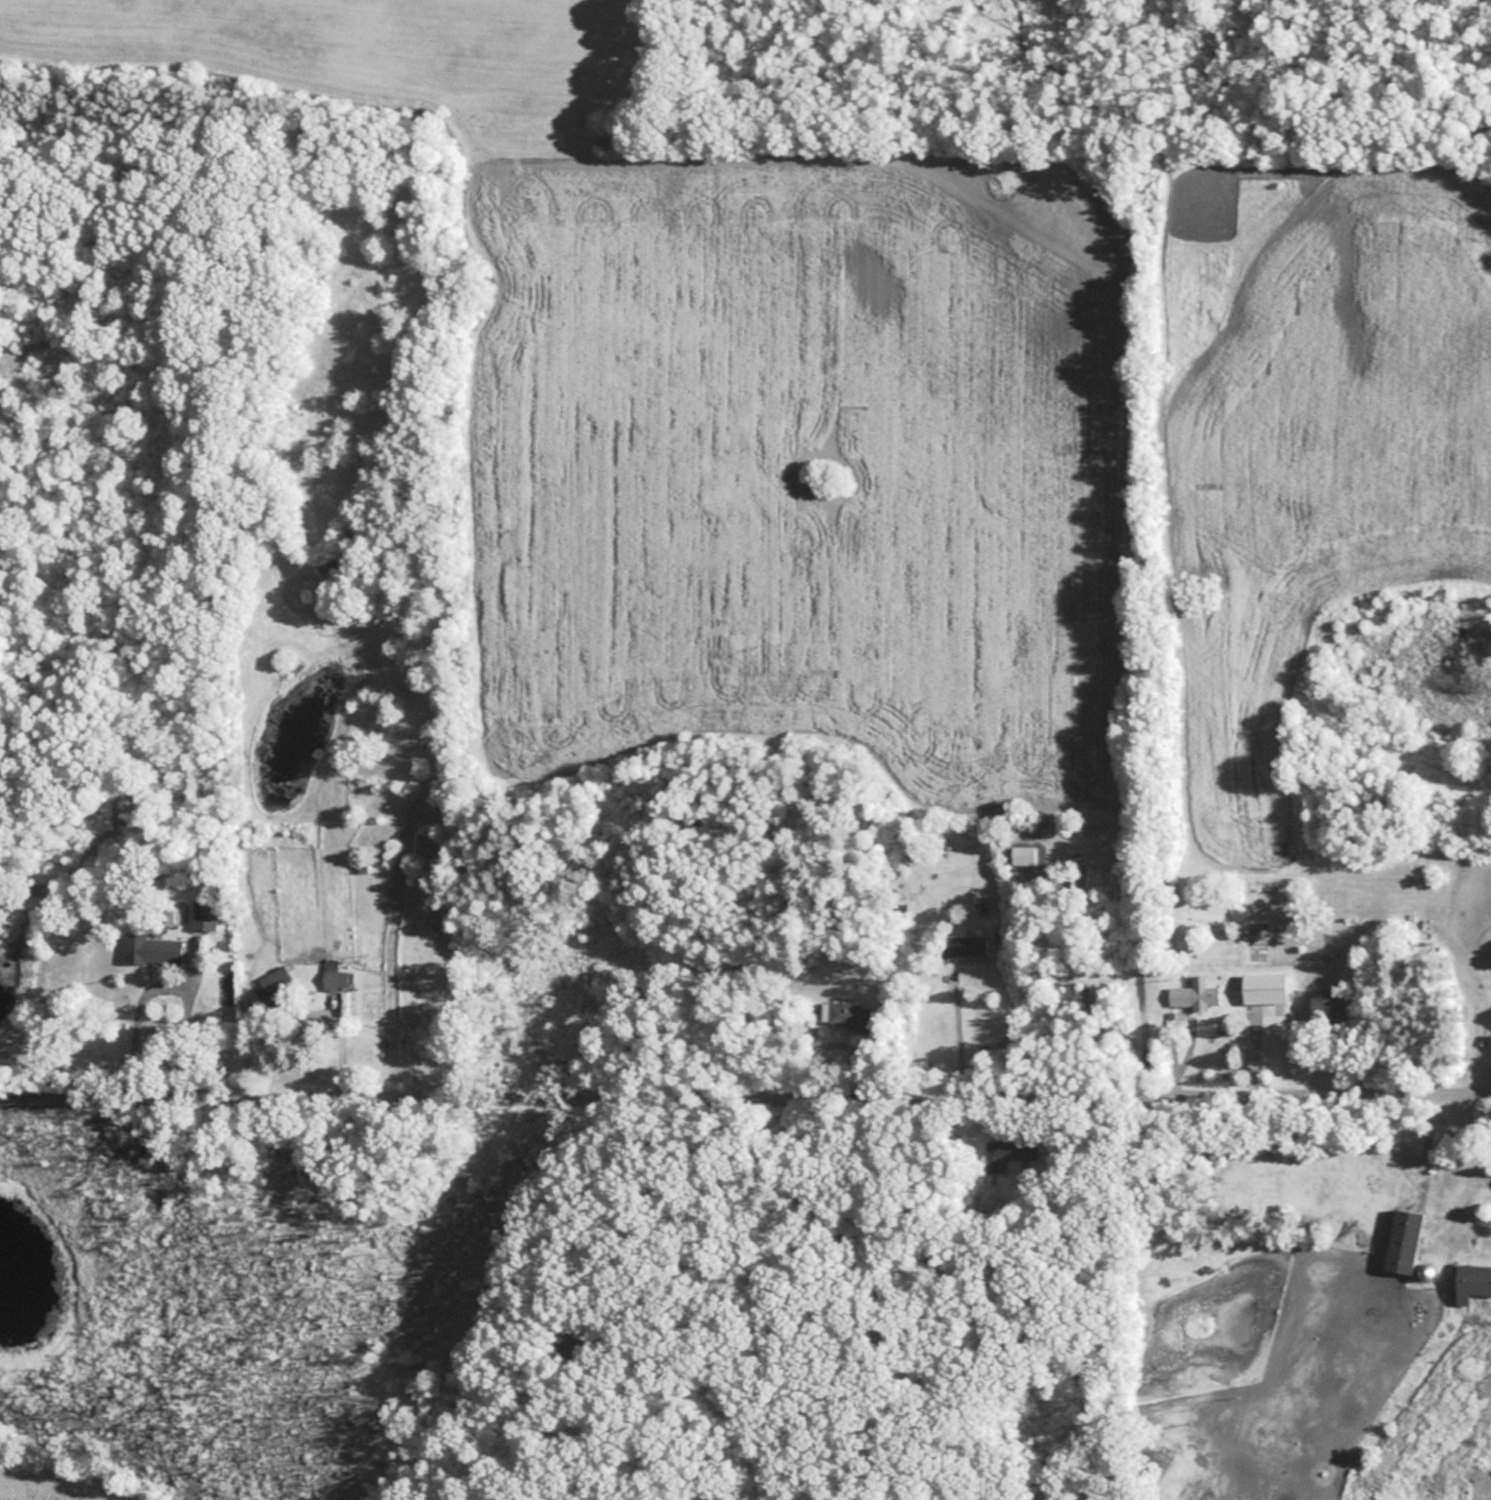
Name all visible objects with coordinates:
building: (324, 564)
building: (204, 914)
road: (1127, 942)
building: (966, 947)
building: (151, 949)
building: (334, 975)
building: (1193, 995)
building: (1327, 1005)
building: (846, 1014)
road: (958, 1029)
road: (745, 1094)
building: (1011, 1152)
road: (1467, 1157)
building: (1403, 1242)
building: (1472, 1282)

